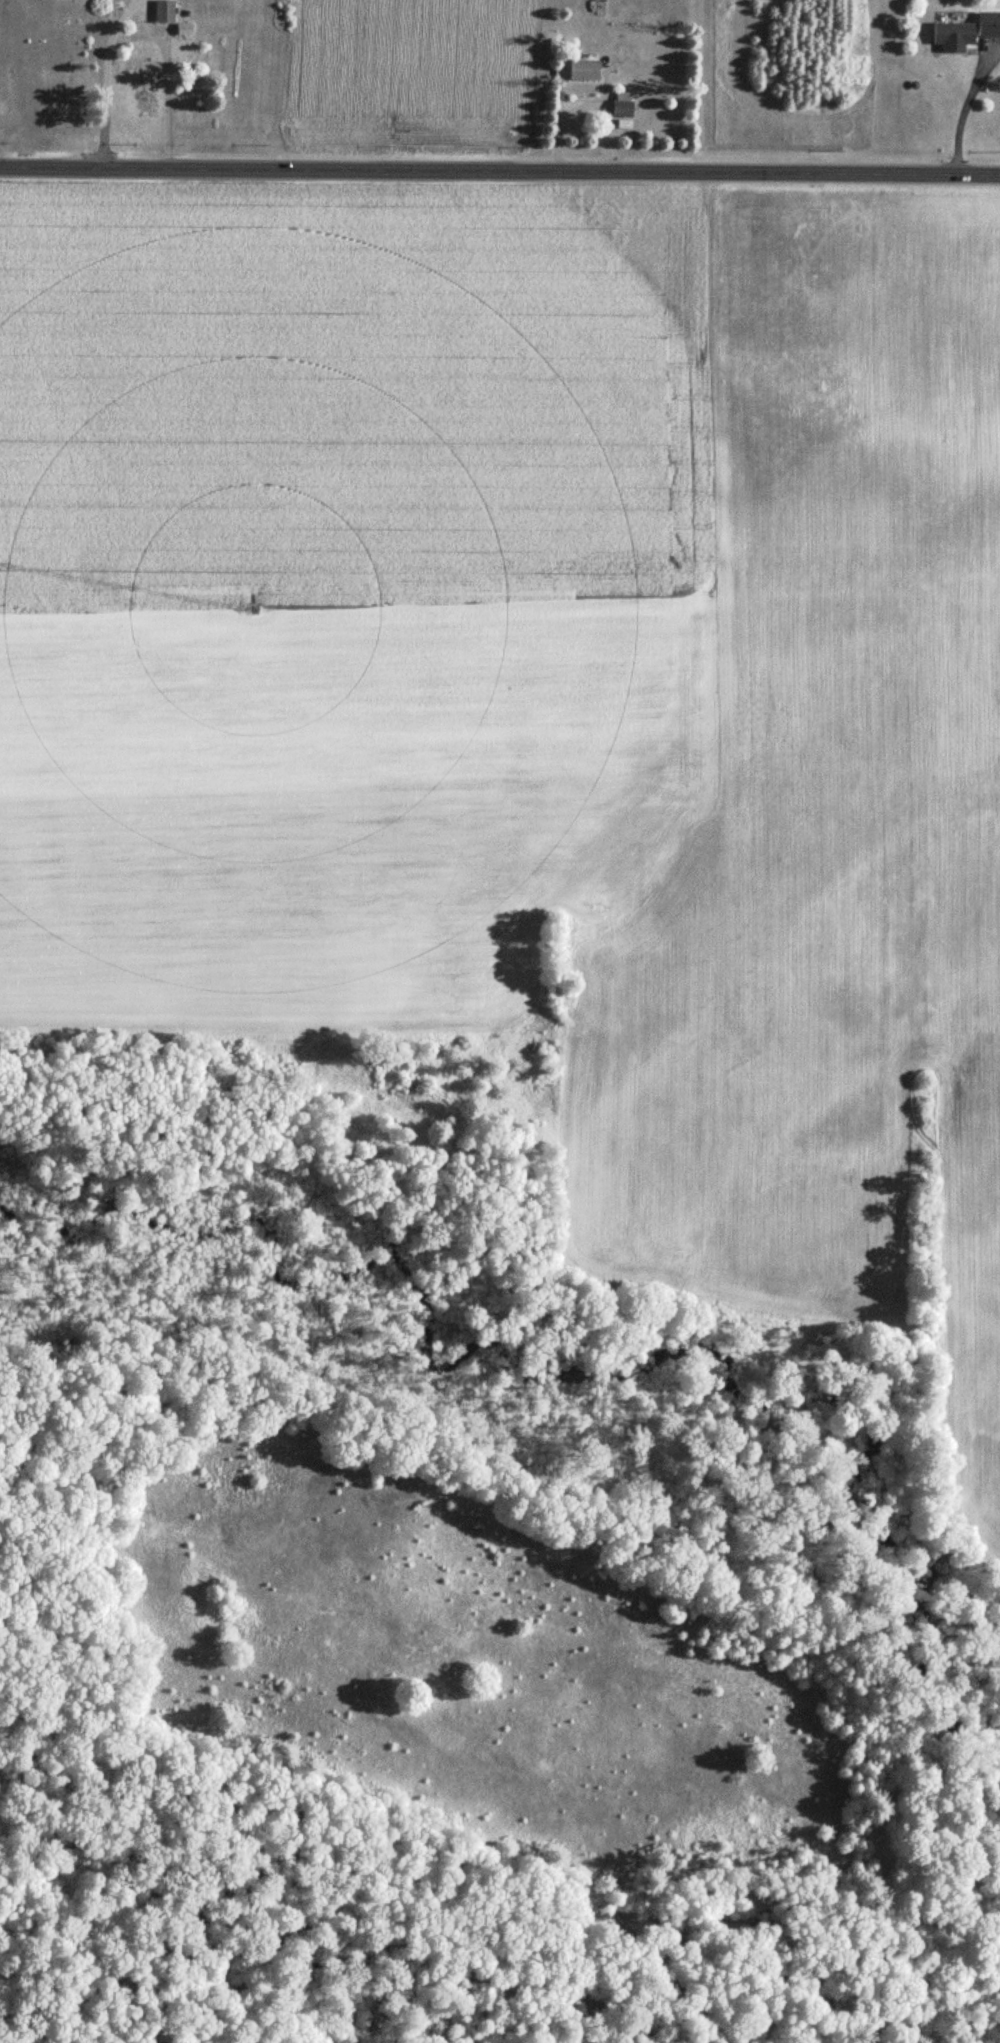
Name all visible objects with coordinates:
building: (166, 10)
building: (963, 31)
building: (578, 69)
road: (109, 80)
road: (602, 95)
road: (581, 108)
building: (617, 109)
road: (960, 111)
road: (500, 171)

